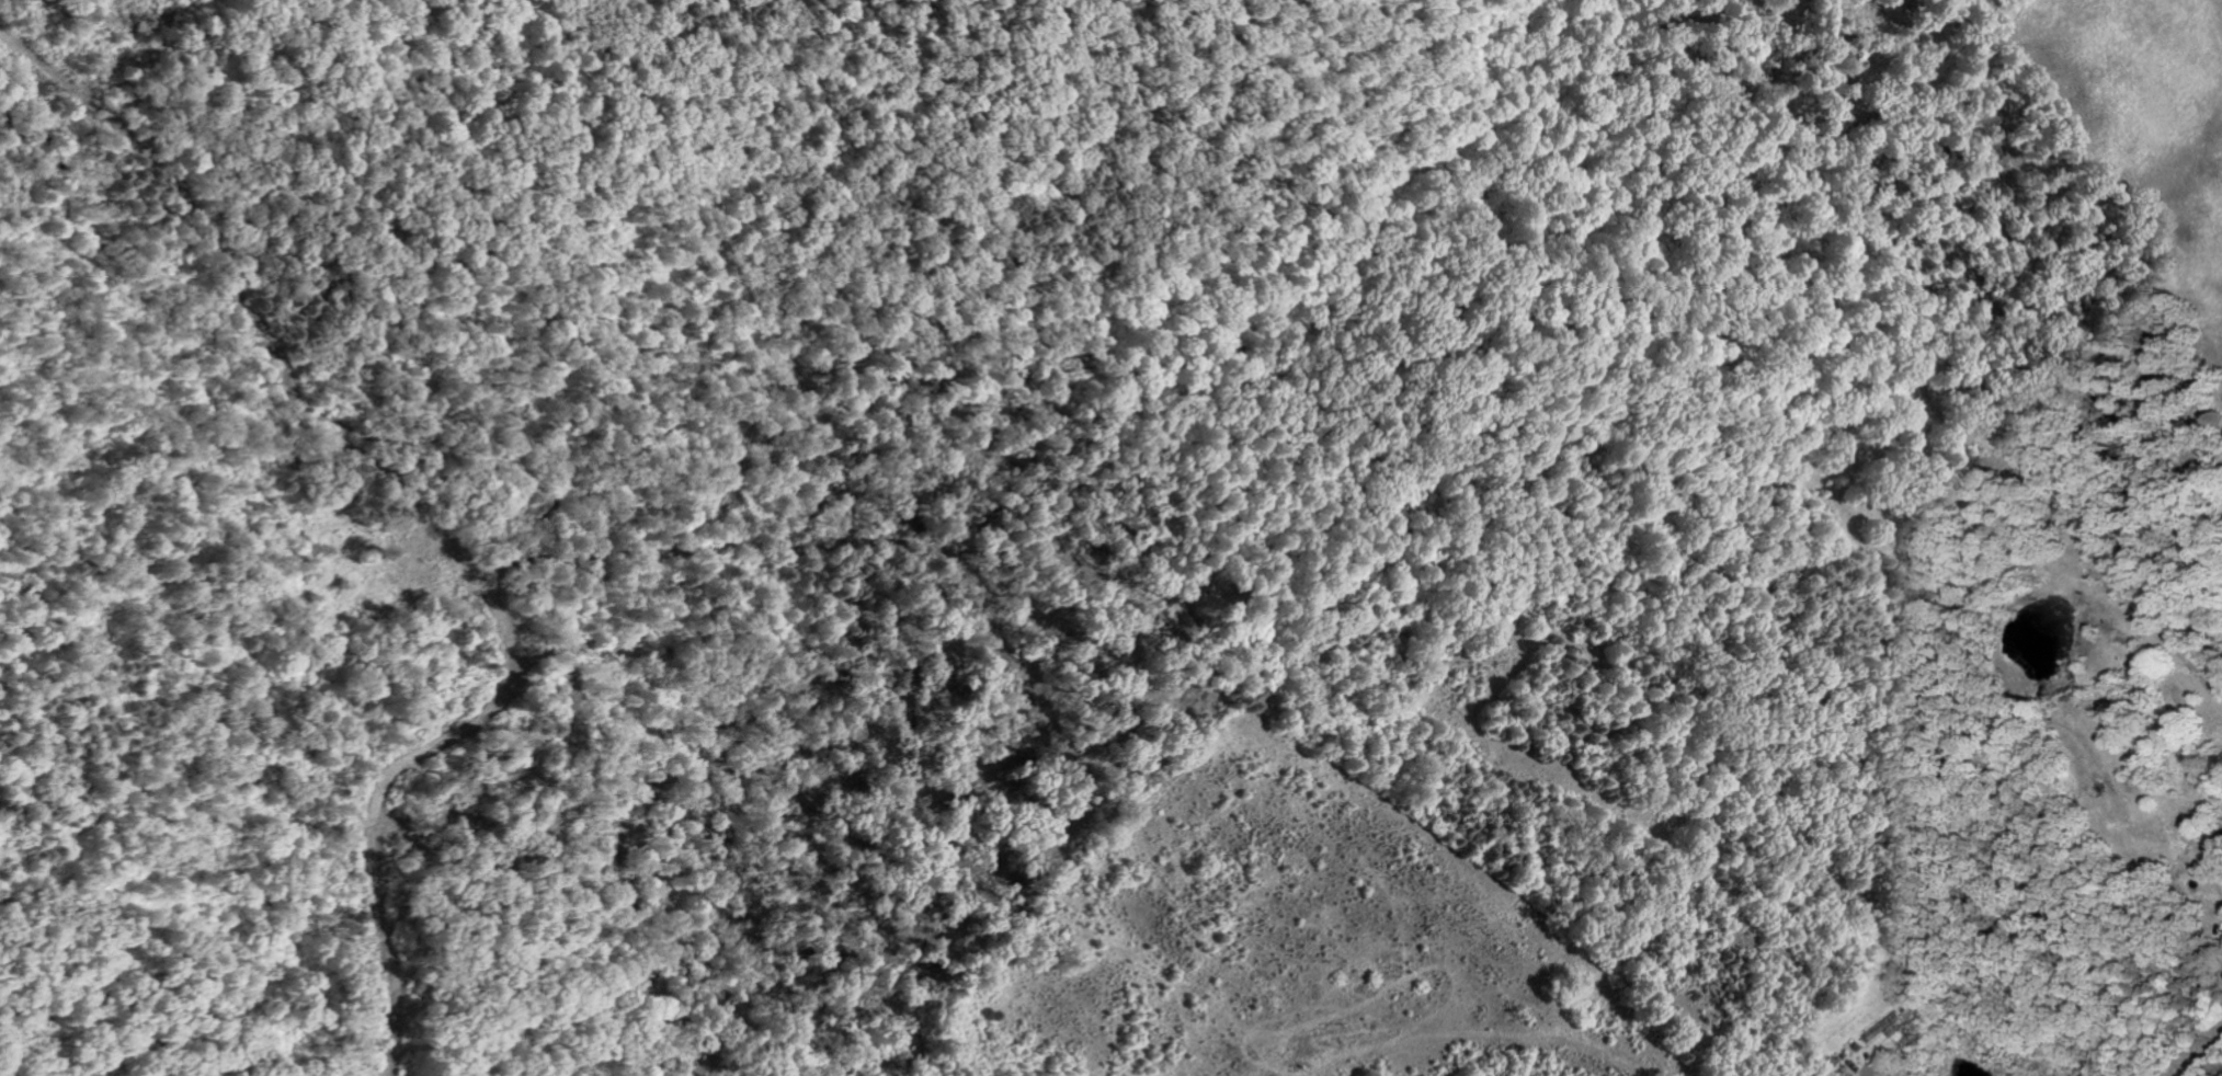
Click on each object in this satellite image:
building: (1888, 1029)

